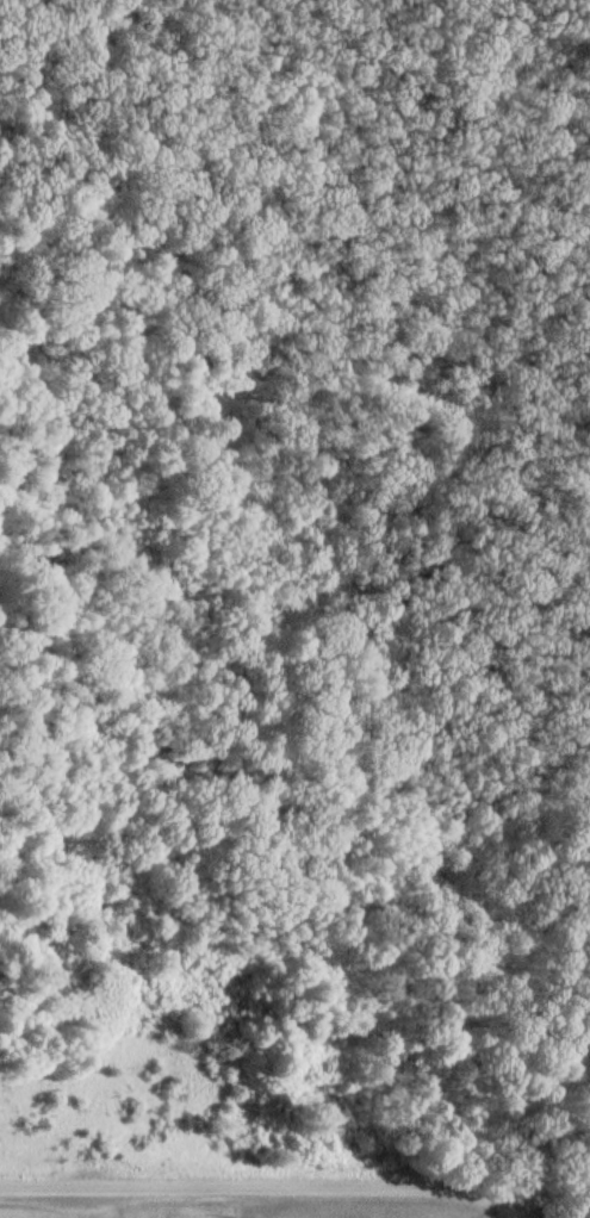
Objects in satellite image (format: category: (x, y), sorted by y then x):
road: (294, 1177)

